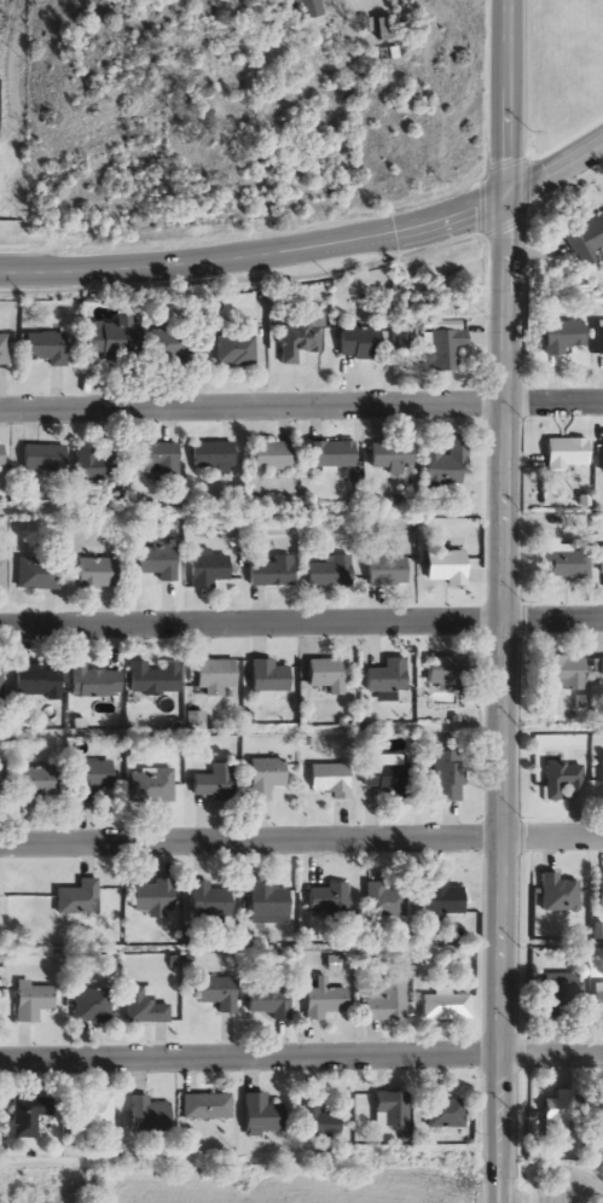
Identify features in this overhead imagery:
building: (305, 10)
building: (384, 30)
building: (390, 56)
building: (585, 243)
road: (313, 248)
building: (110, 338)
building: (561, 339)
building: (297, 342)
building: (599, 342)
building: (359, 344)
building: (168, 347)
building: (234, 349)
building: (44, 350)
building: (4, 351)
building: (445, 351)
road: (301, 411)
building: (563, 457)
building: (211, 458)
building: (269, 458)
building: (327, 458)
building: (388, 458)
building: (1, 459)
building: (42, 460)
building: (601, 460)
building: (155, 464)
building: (92, 466)
building: (442, 466)
building: (157, 562)
building: (567, 562)
building: (601, 562)
building: (443, 568)
building: (210, 573)
building: (388, 573)
building: (2, 574)
building: (37, 575)
building: (95, 575)
building: (273, 575)
building: (330, 575)
road: (505, 601)
road: (301, 626)
building: (562, 674)
building: (445, 675)
building: (599, 675)
building: (214, 678)
building: (327, 678)
building: (387, 678)
building: (268, 679)
building: (153, 681)
building: (37, 682)
building: (92, 684)
building: (1, 685)
building: (384, 778)
building: (265, 779)
building: (447, 779)
building: (93, 780)
building: (330, 781)
building: (563, 783)
building: (601, 783)
building: (214, 784)
building: (37, 785)
building: (151, 788)
building: (2, 791)
road: (301, 839)
building: (599, 893)
building: (558, 896)
building: (79, 900)
building: (151, 900)
building: (209, 901)
building: (329, 901)
building: (442, 901)
building: (385, 902)
building: (268, 905)
building: (219, 994)
building: (559, 999)
building: (268, 1000)
building: (385, 1002)
building: (597, 1002)
building: (33, 1004)
building: (326, 1006)
building: (94, 1007)
building: (445, 1007)
building: (145, 1009)
road: (301, 1056)
building: (208, 1109)
building: (392, 1112)
building: (601, 1112)
building: (93, 1114)
building: (445, 1114)
building: (147, 1117)
building: (262, 1117)
building: (555, 1120)
building: (33, 1121)
building: (318, 1123)

